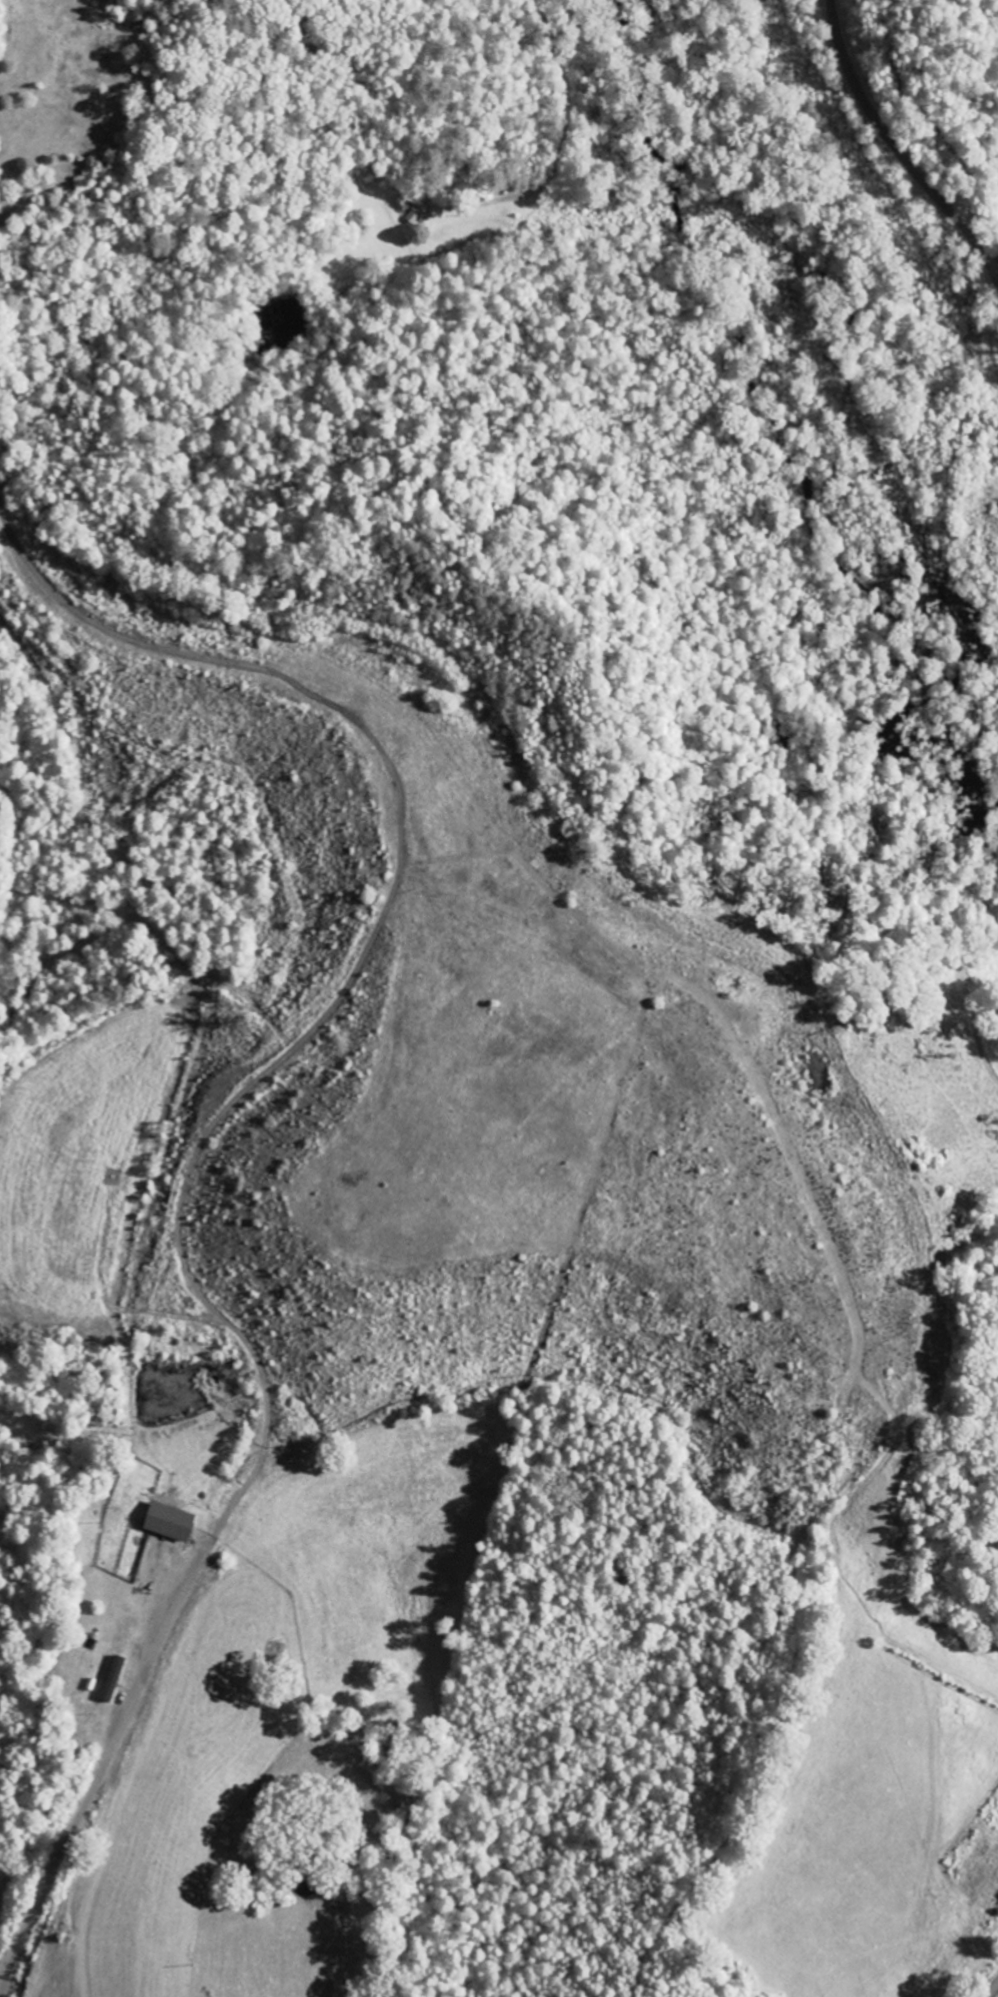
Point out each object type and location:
road: (898, 150)
building: (414, 214)
road: (968, 222)
building: (171, 1523)
building: (113, 1679)
road: (993, 1991)

